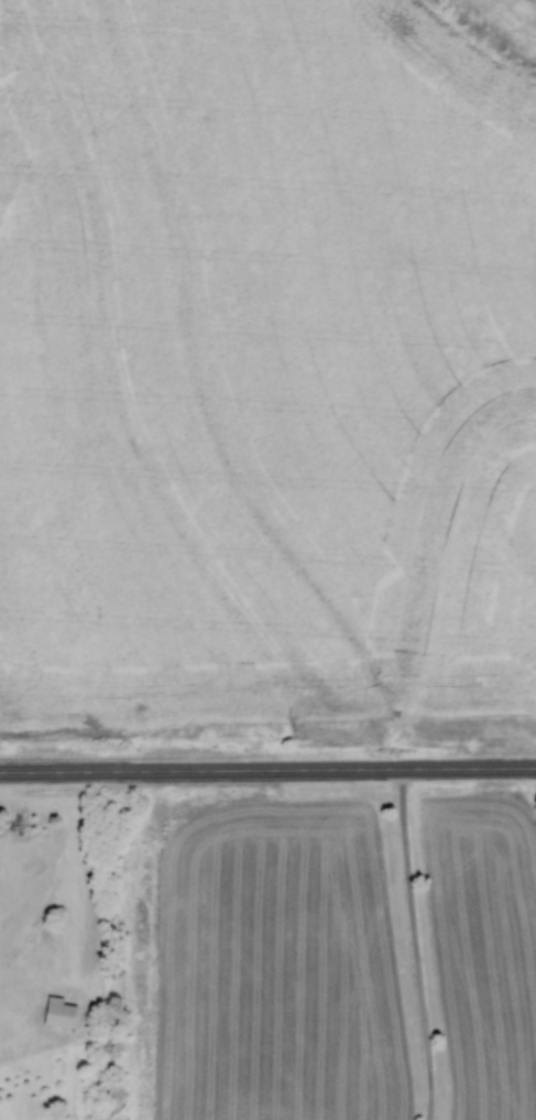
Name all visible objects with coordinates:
road: (267, 770)
building: (58, 1012)

